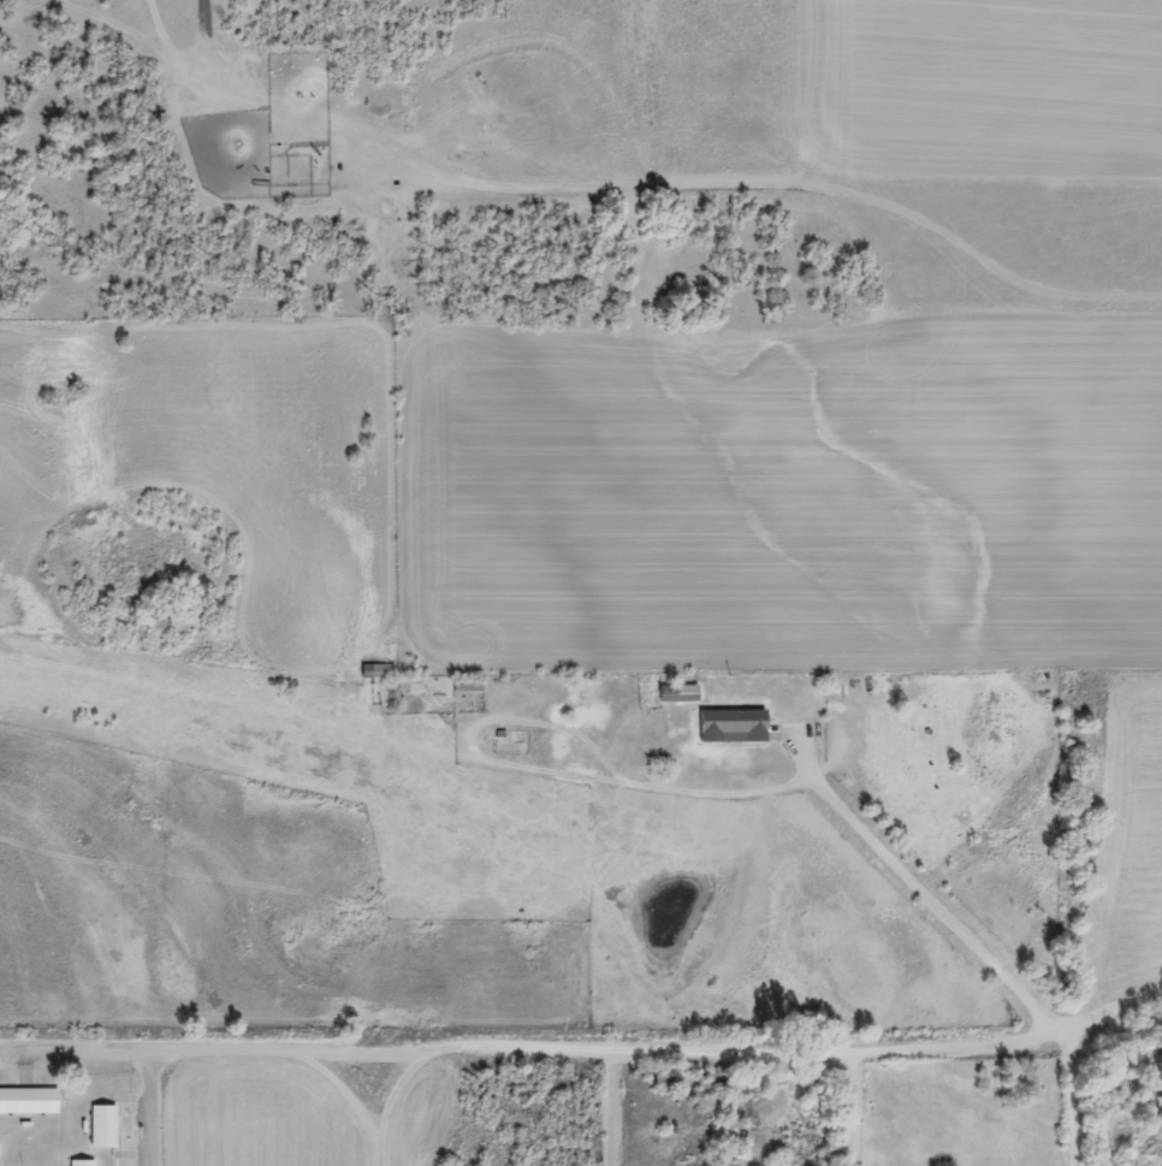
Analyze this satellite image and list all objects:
building: (377, 671)
building: (468, 683)
building: (677, 693)
building: (731, 726)
road: (915, 893)
road: (585, 1047)
road: (1080, 1096)
building: (28, 1101)
road: (385, 1106)
road: (618, 1106)
road: (154, 1108)
road: (848, 1111)
building: (102, 1126)
building: (82, 1162)

